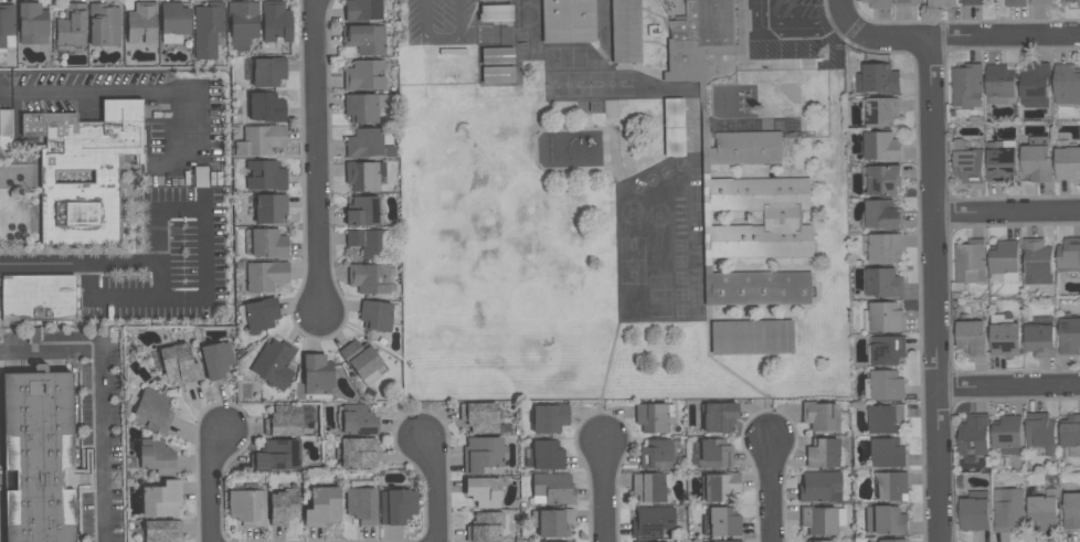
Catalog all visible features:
building: (488, 0)
building: (974, 1)
building: (1041, 1)
building: (907, 2)
building: (878, 3)
building: (942, 3)
building: (1016, 3)
building: (1079, 3)
building: (362, 9)
road: (856, 9)
road: (844, 11)
building: (495, 13)
building: (568, 21)
road: (828, 21)
building: (141, 22)
building: (173, 22)
building: (276, 22)
building: (707, 22)
building: (32, 23)
building: (242, 23)
building: (104, 24)
road: (795, 26)
building: (7, 28)
building: (71, 28)
road: (851, 28)
building: (208, 29)
building: (625, 31)
road: (962, 39)
building: (367, 40)
building: (497, 55)
building: (264, 71)
building: (363, 75)
building: (498, 75)
building: (878, 78)
building: (1000, 83)
building: (1067, 83)
building: (967, 84)
building: (1036, 84)
road: (115, 93)
building: (266, 107)
building: (363, 107)
building: (880, 110)
building: (123, 127)
building: (674, 127)
building: (260, 140)
building: (364, 142)
building: (881, 146)
building: (749, 147)
building: (71, 150)
road: (319, 155)
building: (966, 160)
building: (1037, 160)
building: (1003, 161)
building: (1068, 162)
building: (362, 174)
building: (265, 176)
road: (46, 177)
building: (882, 179)
building: (200, 182)
building: (756, 190)
building: (269, 209)
park: (35, 210)
building: (362, 211)
road: (1006, 212)
building: (883, 213)
building: (78, 215)
building: (265, 243)
building: (367, 243)
building: (882, 246)
building: (1069, 254)
building: (971, 261)
building: (1005, 261)
building: (1037, 261)
road: (81, 262)
road: (207, 263)
building: (265, 276)
building: (368, 278)
road: (162, 279)
building: (883, 281)
building: (761, 288)
road: (934, 290)
building: (39, 297)
building: (258, 315)
building: (378, 315)
building: (883, 317)
building: (1005, 334)
building: (1040, 336)
building: (1069, 336)
building: (751, 337)
building: (972, 337)
building: (886, 349)
building: (216, 360)
building: (361, 361)
building: (274, 363)
building: (179, 364)
building: (317, 374)
building: (885, 384)
road: (1008, 385)
road: (97, 398)
building: (153, 410)
building: (820, 416)
building: (479, 417)
building: (653, 417)
building: (718, 417)
building: (887, 417)
building: (549, 418)
building: (288, 421)
building: (358, 421)
building: (1041, 432)
building: (1008, 433)
building: (1071, 433)
building: (974, 436)
building: (888, 451)
building: (357, 453)
building: (823, 453)
building: (483, 454)
building: (659, 454)
building: (713, 454)
building: (277, 456)
building: (544, 456)
building: (156, 457)
building: (36, 460)
road: (212, 485)
building: (891, 486)
building: (649, 487)
building: (720, 487)
building: (819, 487)
building: (552, 489)
road: (435, 490)
building: (484, 491)
road: (772, 491)
road: (603, 492)
building: (161, 499)
building: (361, 502)
building: (284, 507)
building: (322, 507)
building: (396, 507)
building: (247, 508)
building: (1008, 509)
building: (1071, 510)
building: (975, 511)
building: (1042, 512)
building: (820, 520)
building: (886, 520)
building: (551, 522)
building: (652, 522)
building: (721, 522)
building: (485, 527)
building: (161, 531)
building: (727, 541)
building: (819, 541)
building: (889, 541)

